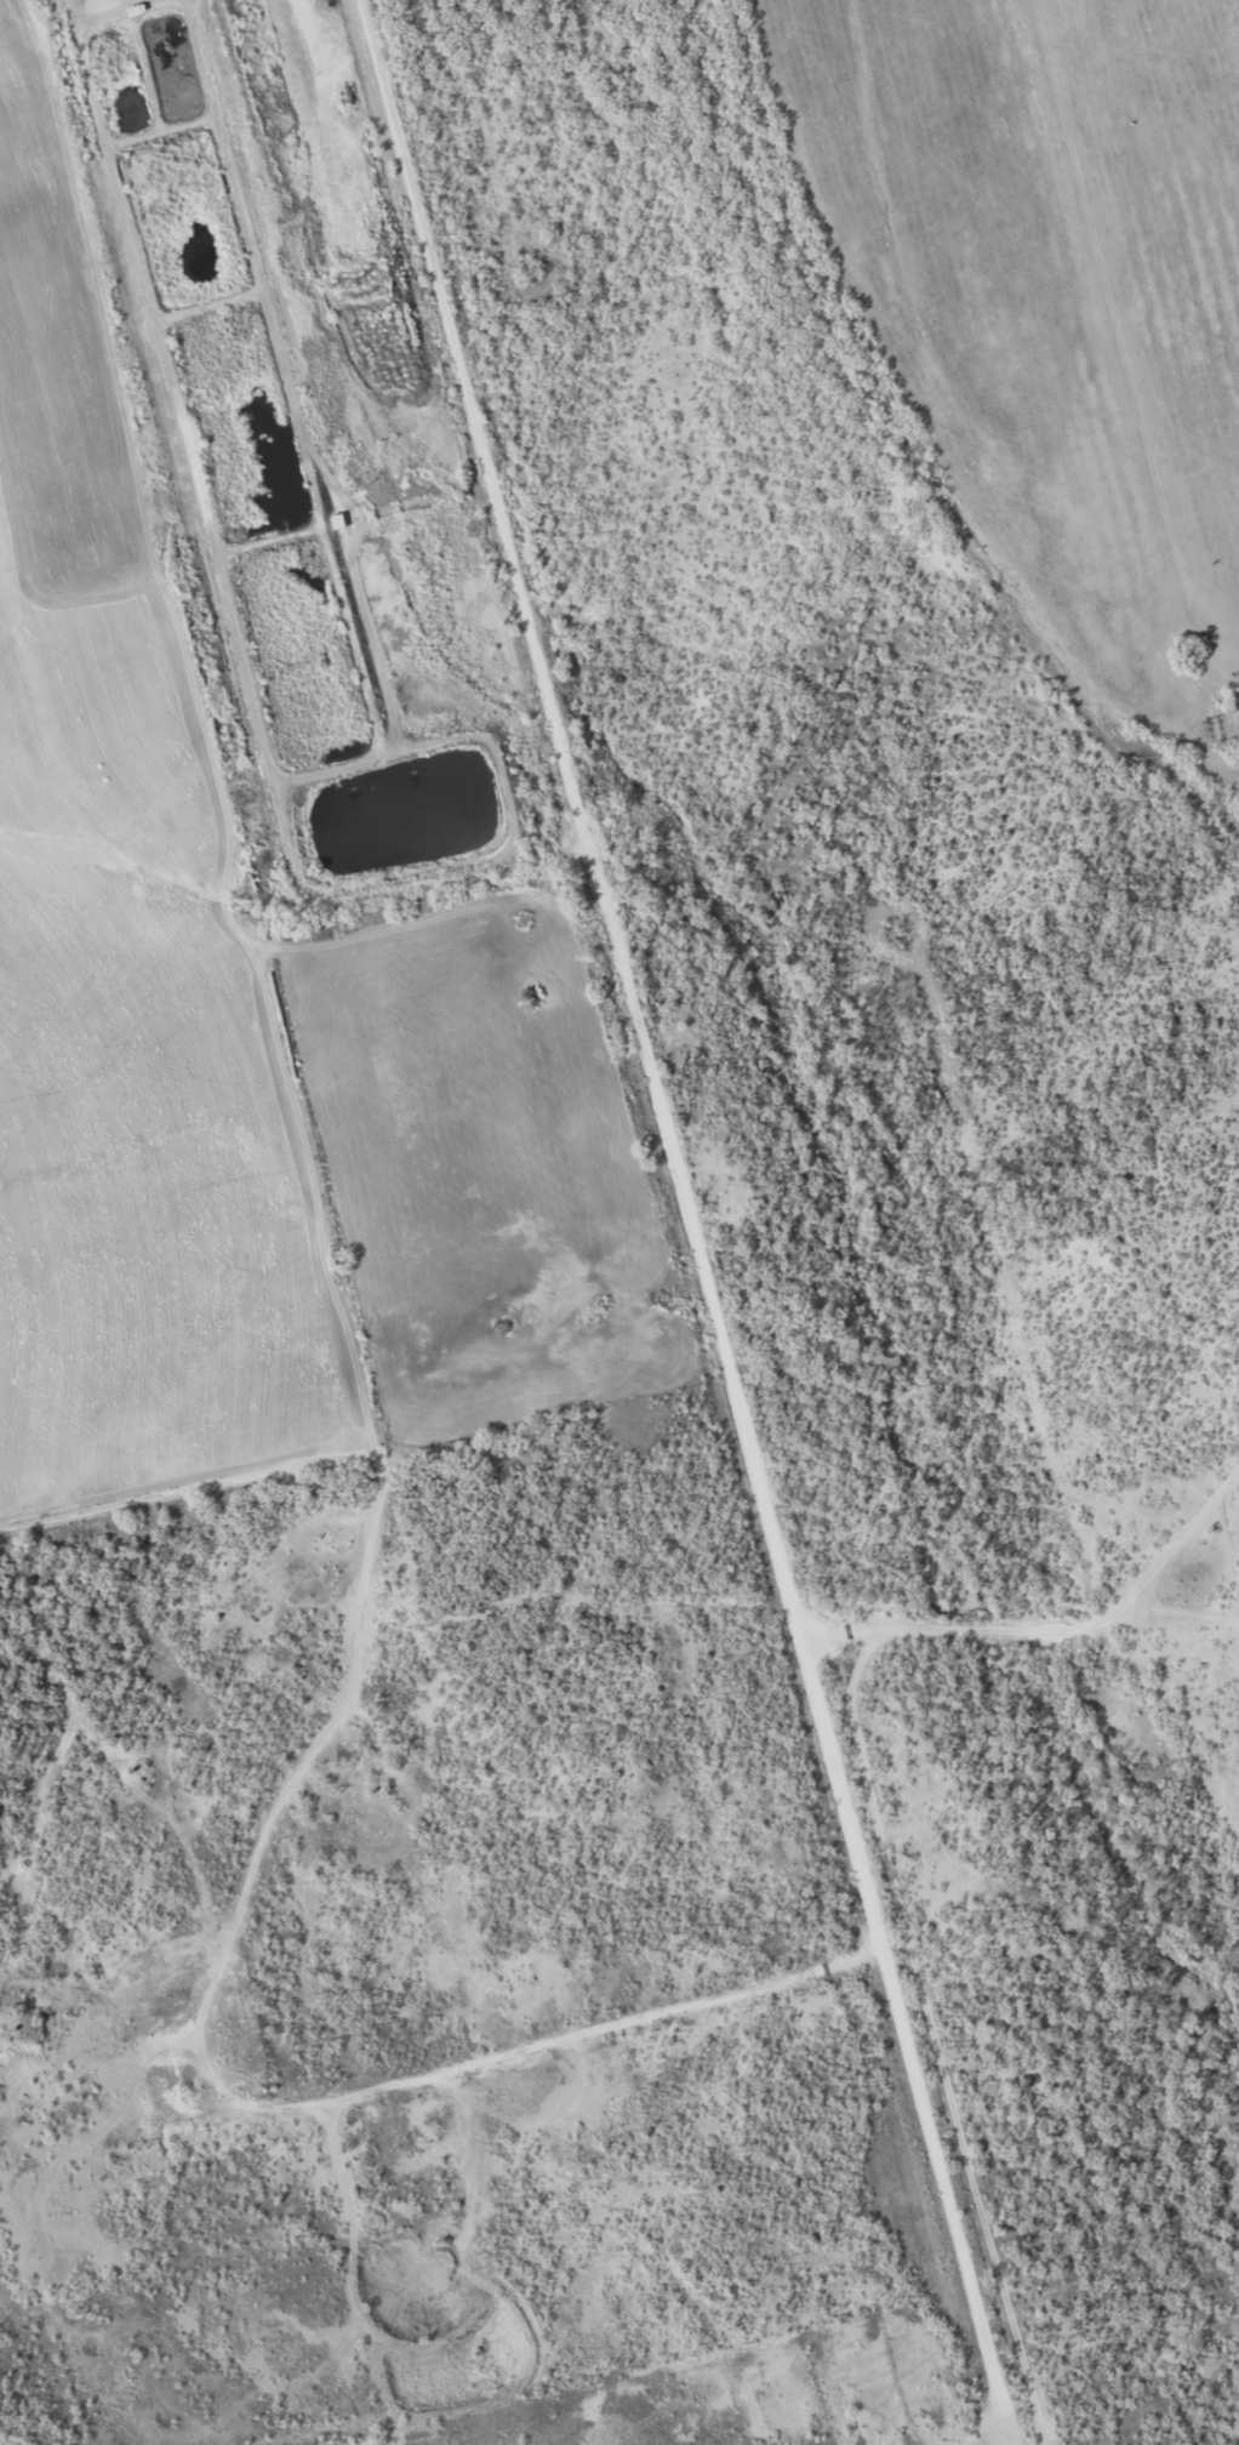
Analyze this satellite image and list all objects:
road: (690, 1221)

